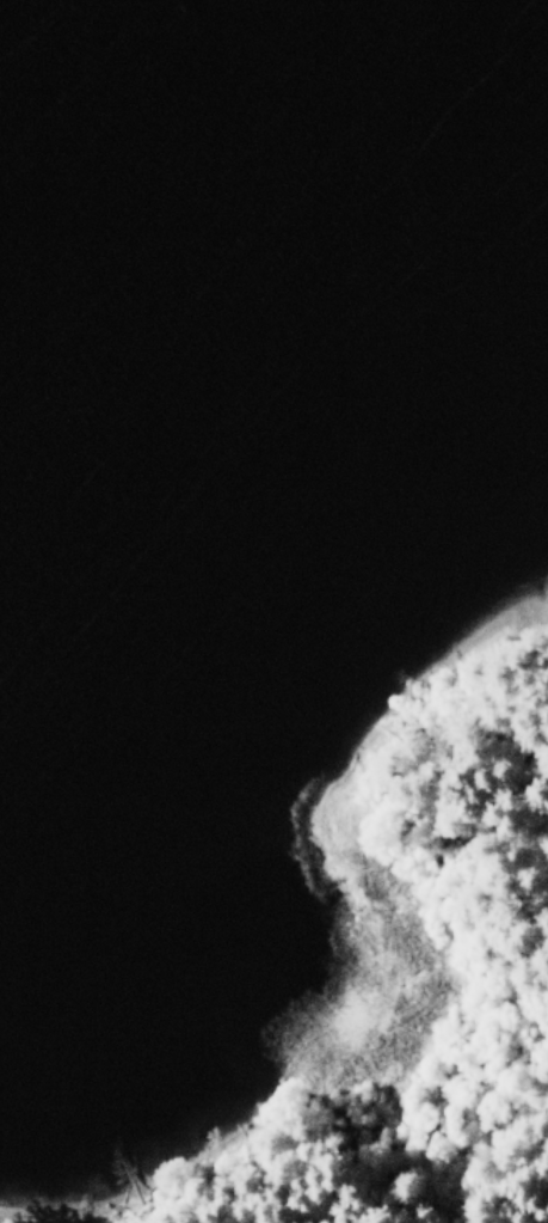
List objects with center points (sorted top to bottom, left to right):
road: (449, 1031)
road: (383, 1168)
road: (174, 1205)

